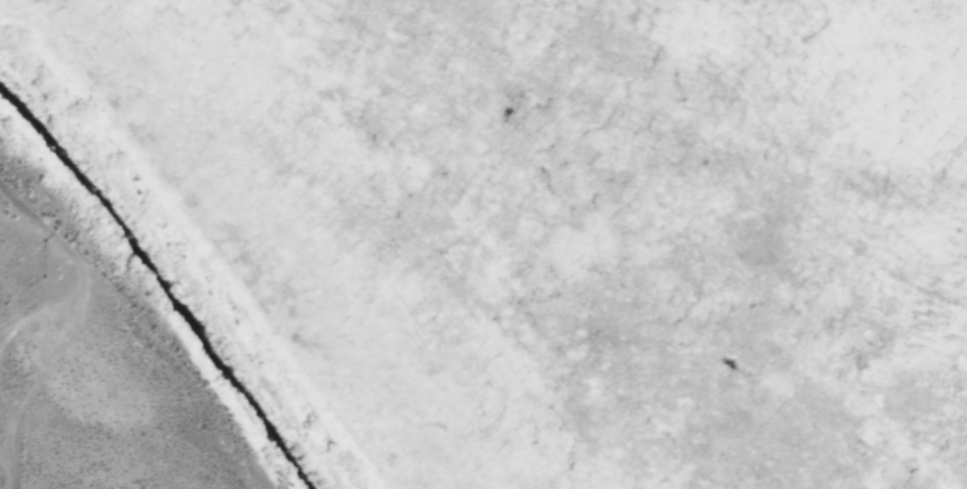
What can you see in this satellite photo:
road: (66, 329)

